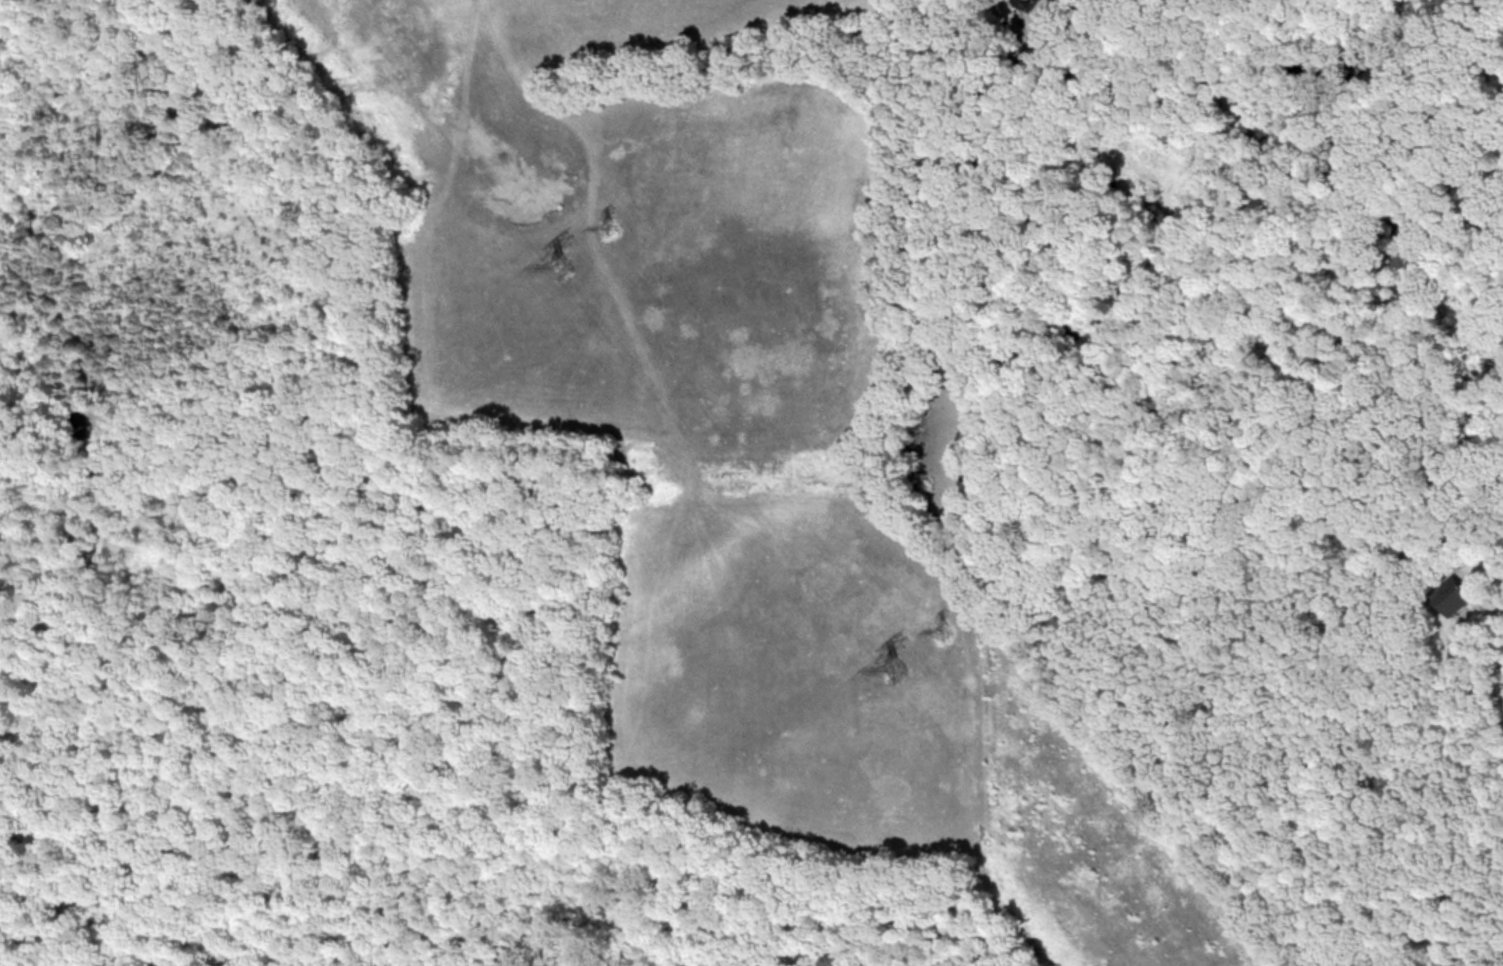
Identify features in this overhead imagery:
road: (1472, 29)
power tower: (611, 227)
power tower: (563, 265)
road: (1485, 518)
building: (1448, 596)
power tower: (945, 630)
power tower: (895, 668)

